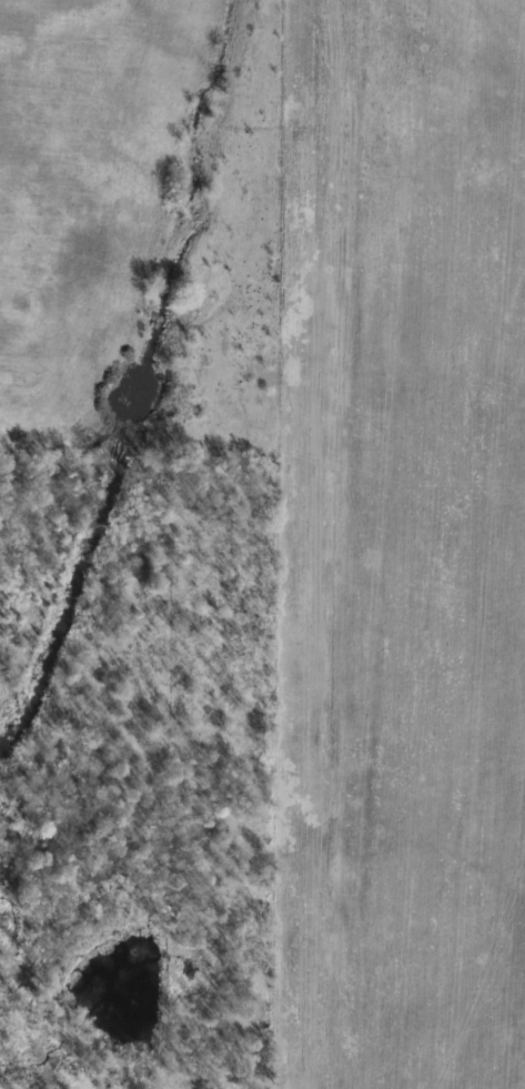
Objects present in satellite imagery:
airport runway: (332, 414)

